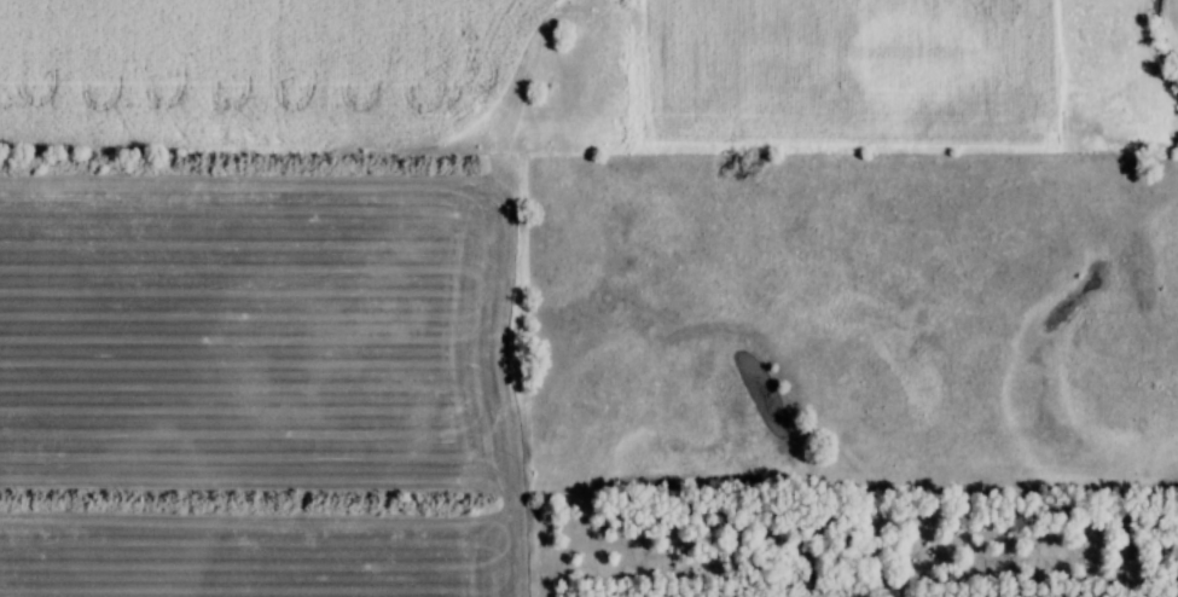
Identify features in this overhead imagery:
crop: (254, 65)
crop: (838, 76)

